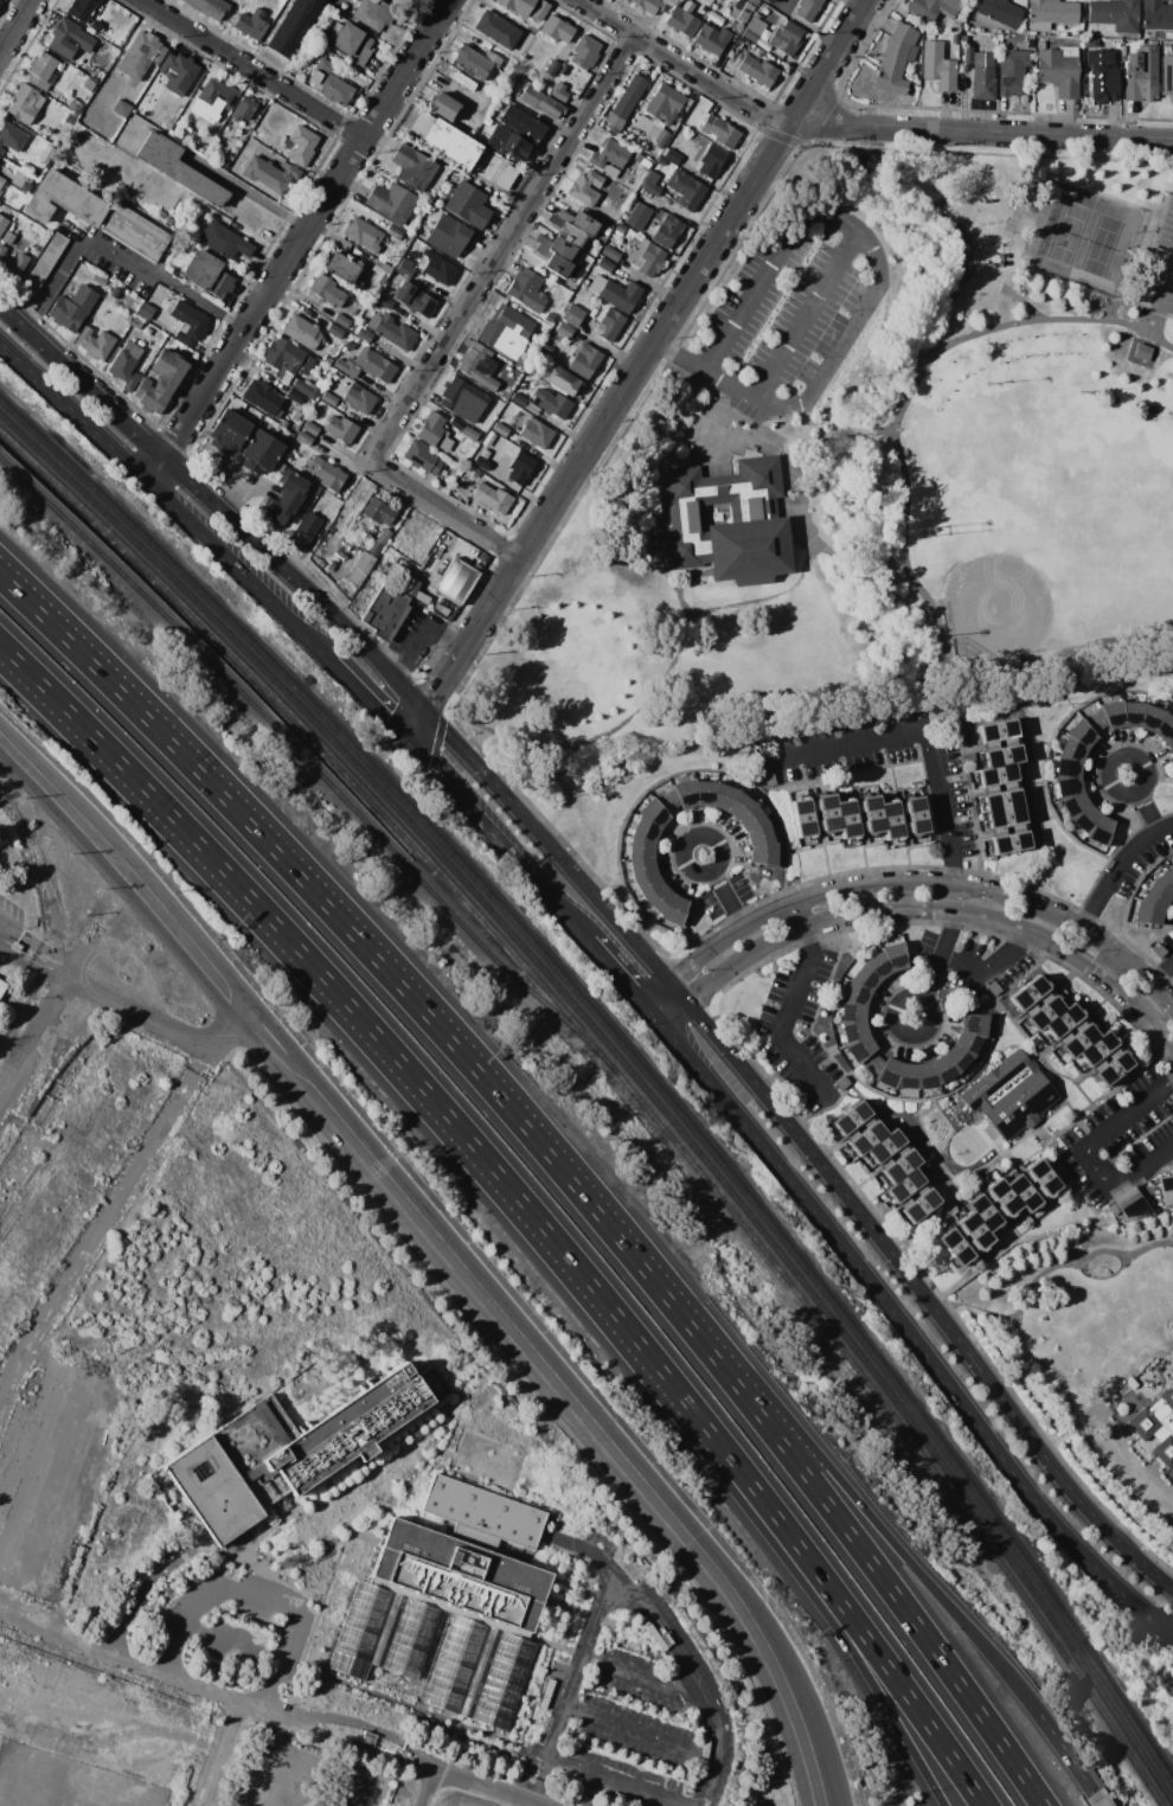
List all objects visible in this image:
building: (768, 1)
road: (435, 5)
building: (647, 5)
building: (784, 5)
building: (517, 6)
building: (209, 7)
building: (806, 8)
building: (932, 8)
building: (81, 9)
building: (538, 11)
building: (999, 12)
building: (372, 14)
building: (1050, 14)
building: (1114, 14)
building: (1156, 15)
building: (737, 17)
building: (681, 20)
road: (15, 24)
building: (250, 25)
building: (291, 26)
building: (496, 28)
building: (555, 30)
building: (754, 30)
building: (784, 38)
building: (63, 39)
building: (711, 39)
building: (963, 40)
building: (350, 43)
building: (1089, 43)
building: (738, 44)
building: (1030, 44)
building: (1040, 45)
building: (1166, 46)
building: (584, 53)
building: (967, 53)
building: (140, 56)
building: (492, 58)
building: (895, 60)
building: (470, 63)
building: (937, 66)
road: (251, 69)
building: (551, 69)
building: (40, 70)
building: (1058, 70)
building: (178, 71)
building: (756, 71)
building: (1012, 71)
building: (1101, 75)
building: (1139, 75)
building: (1166, 75)
building: (982, 77)
building: (329, 83)
building: (88, 85)
building: (514, 85)
building: (557, 92)
building: (212, 101)
building: (540, 102)
building: (624, 102)
building: (23, 104)
building: (441, 105)
building: (75, 107)
building: (121, 109)
building: (243, 109)
building: (659, 109)
building: (521, 124)
road: (857, 124)
building: (718, 132)
building: (5, 133)
building: (660, 139)
building: (444, 141)
building: (507, 143)
building: (300, 146)
building: (1, 150)
building: (609, 154)
building: (671, 156)
building: (0, 160)
building: (710, 161)
building: (412, 167)
building: (178, 168)
building: (269, 174)
building: (2, 175)
building: (1, 181)
building: (584, 188)
building: (652, 190)
building: (684, 190)
road: (244, 192)
building: (63, 201)
building: (391, 203)
building: (467, 205)
building: (560, 216)
building: (637, 218)
building: (582, 223)
building: (2, 224)
building: (618, 228)
building: (665, 230)
building: (136, 231)
building: (393, 233)
building: (361, 235)
building: (569, 235)
building: (264, 236)
building: (448, 237)
park: (1085, 238)
road: (300, 239)
building: (601, 239)
building: (223, 242)
road: (500, 248)
building: (560, 249)
building: (610, 254)
road: (118, 257)
building: (646, 258)
building: (582, 262)
building: (11, 263)
building: (604, 264)
building: (557, 265)
building: (342, 270)
building: (380, 270)
building: (404, 270)
building: (440, 271)
building: (206, 275)
building: (98, 280)
road: (877, 284)
road: (1167, 287)
building: (525, 290)
building: (325, 292)
building: (615, 293)
building: (414, 300)
building: (363, 301)
building: (384, 302)
building: (72, 308)
building: (145, 312)
road: (802, 313)
building: (572, 315)
parking lot: (803, 316)
building: (549, 318)
building: (342, 319)
road: (1155, 321)
building: (187, 322)
building: (134, 324)
building: (608, 326)
building: (563, 329)
building: (334, 331)
building: (301, 332)
building: (391, 332)
building: (505, 332)
building: (364, 335)
building: (94, 344)
road: (649, 357)
building: (284, 359)
building: (583, 361)
building: (327, 363)
building: (124, 365)
building: (365, 366)
building: (477, 366)
building: (559, 380)
building: (159, 383)
building: (308, 389)
building: (294, 396)
building: (262, 398)
building: (328, 398)
building: (358, 398)
building: (462, 399)
building: (517, 399)
road: (911, 399)
building: (551, 403)
building: (531, 408)
building: (291, 428)
building: (229, 429)
building: (309, 429)
building: (431, 429)
building: (340, 430)
building: (499, 430)
road: (768, 433)
building: (468, 434)
building: (536, 434)
building: (303, 438)
building: (444, 444)
building: (252, 448)
building: (303, 448)
building: (455, 456)
building: (267, 457)
building: (422, 459)
building: (483, 460)
building: (519, 468)
building: (457, 469)
building: (468, 469)
park: (870, 469)
building: (326, 474)
building: (474, 475)
building: (291, 487)
park: (1077, 488)
road: (166, 498)
building: (489, 500)
road: (209, 507)
road: (444, 510)
building: (277, 511)
building: (377, 512)
park: (1043, 518)
building: (727, 524)
building: (305, 532)
building: (383, 537)
building: (373, 549)
building: (359, 568)
building: (456, 581)
road: (825, 585)
building: (384, 611)
road: (416, 630)
road: (365, 696)
building: (1110, 713)
building: (1130, 713)
building: (1148, 717)
road: (410, 718)
road: (788, 718)
building: (1095, 722)
building: (1164, 726)
building: (996, 731)
building: (1079, 734)
road: (922, 738)
building: (1169, 743)
building: (1071, 750)
building: (1172, 755)
building: (1002, 756)
railway: (305, 760)
building: (1066, 768)
building: (995, 774)
building: (768, 780)
building: (1068, 787)
building: (685, 793)
building: (704, 793)
building: (722, 796)
building: (667, 801)
road: (1141, 803)
building: (1075, 805)
building: (738, 806)
building: (1002, 808)
building: (653, 813)
building: (828, 813)
building: (871, 813)
building: (916, 815)
building: (803, 818)
building: (846, 819)
building: (1085, 819)
building: (751, 820)
building: (890, 820)
building: (645, 830)
building: (1100, 831)
road: (493, 835)
building: (758, 835)
road: (546, 841)
building: (1008, 843)
building: (640, 848)
building: (763, 854)
road: (1113, 864)
building: (641, 867)
building: (1171, 867)
road: (124, 873)
building: (1165, 882)
road: (928, 883)
building: (648, 885)
road: (722, 889)
building: (1155, 897)
building: (660, 899)
building: (674, 911)
road: (944, 911)
building: (1145, 914)
road: (7, 941)
building: (1156, 950)
road: (368, 955)
building: (892, 958)
road: (932, 965)
building: (876, 967)
road: (1111, 969)
road: (986, 971)
road: (1161, 974)
road: (618, 975)
building: (863, 980)
building: (1, 987)
building: (992, 988)
road: (678, 992)
building: (1027, 993)
road: (660, 997)
building: (854, 997)
road: (114, 1001)
road: (789, 1005)
road: (668, 1007)
building: (1044, 1012)
building: (851, 1014)
building: (991, 1020)
building: (1062, 1020)
building: (974, 1023)
road: (230, 1031)
building: (853, 1033)
building: (988, 1038)
road: (33, 1039)
building: (1077, 1039)
building: (967, 1040)
building: (1096, 1046)
building: (859, 1050)
railway: (629, 1056)
building: (957, 1057)
building: (872, 1063)
road: (403, 1067)
building: (1111, 1068)
building: (943, 1069)
railway: (630, 1071)
building: (889, 1074)
building: (906, 1076)
building: (925, 1076)
railway: (623, 1083)
building: (841, 1083)
building: (1009, 1095)
building: (850, 1119)
building: (866, 1139)
building: (884, 1146)
road: (1084, 1153)
building: (899, 1165)
building: (1041, 1177)
building: (903, 1185)
building: (1166, 1190)
building: (1020, 1193)
building: (1001, 1196)
building: (1128, 1204)
building: (918, 1206)
building: (983, 1212)
building: (975, 1230)
road: (103, 1232)
building: (955, 1247)
road: (1043, 1274)
road: (927, 1300)
park: (1075, 1313)
road: (904, 1330)
road: (560, 1392)
building: (268, 1422)
building: (1156, 1423)
road: (1081, 1429)
road: (1059, 1439)
building: (291, 1455)
building: (481, 1512)
road: (582, 1549)
road: (911, 1567)
building: (459, 1574)
road: (880, 1578)
road: (254, 1596)
road: (230, 1641)
road: (880, 1660)
road: (139, 1661)
road: (858, 1661)
road: (636, 1677)
road: (688, 1682)
road: (570, 1687)
road: (281, 1712)
road: (274, 1729)
road: (637, 1734)
building: (365, 1738)
road: (225, 1753)
road: (306, 1763)
road: (258, 1775)
road: (614, 1782)
road: (425, 1787)
road: (482, 1787)
road: (358, 1791)
road: (1096, 1800)

